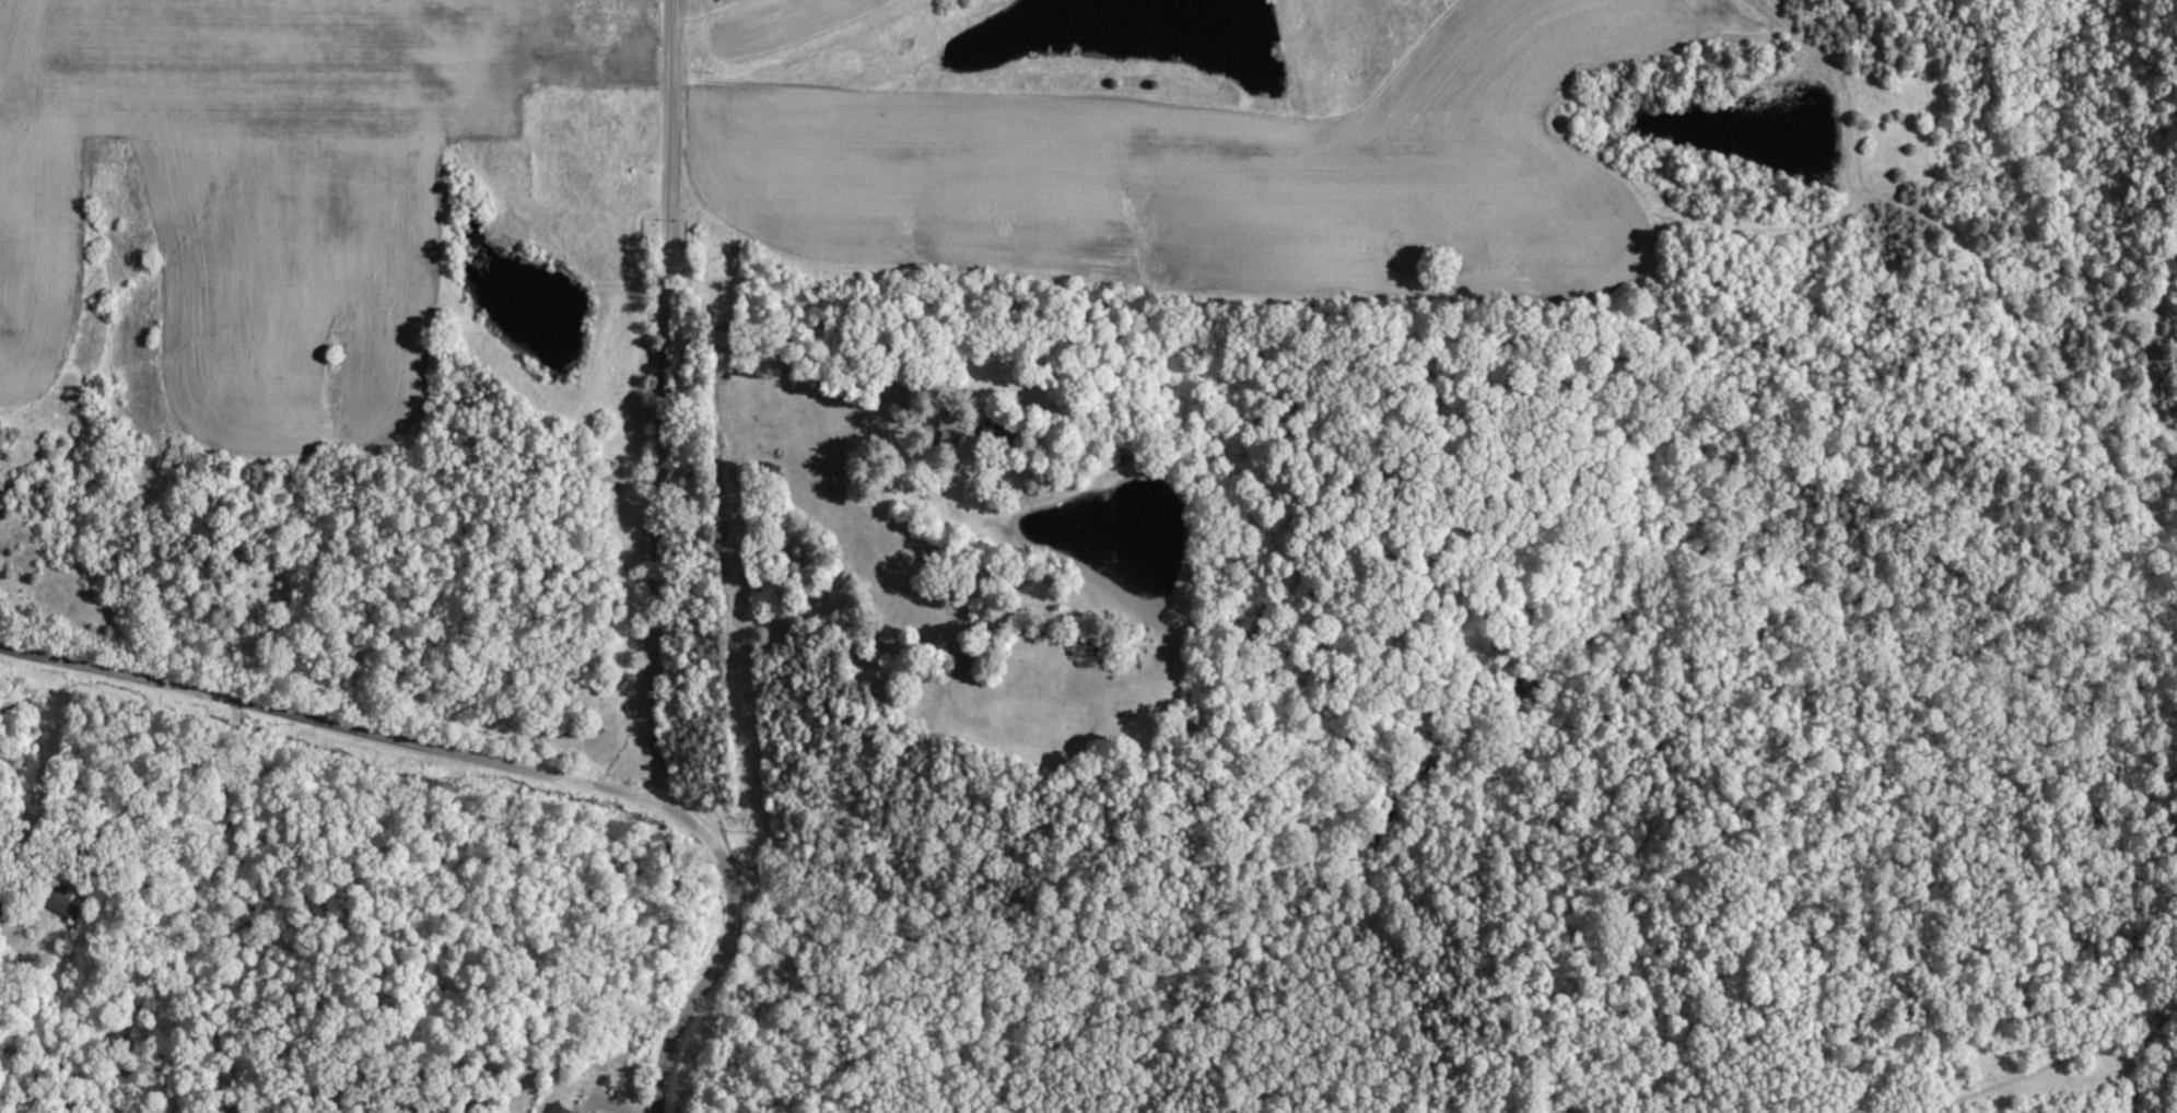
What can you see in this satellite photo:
road: (753, 359)
road: (656, 406)
road: (491, 780)
building: (68, 903)
building: (562, 1109)

